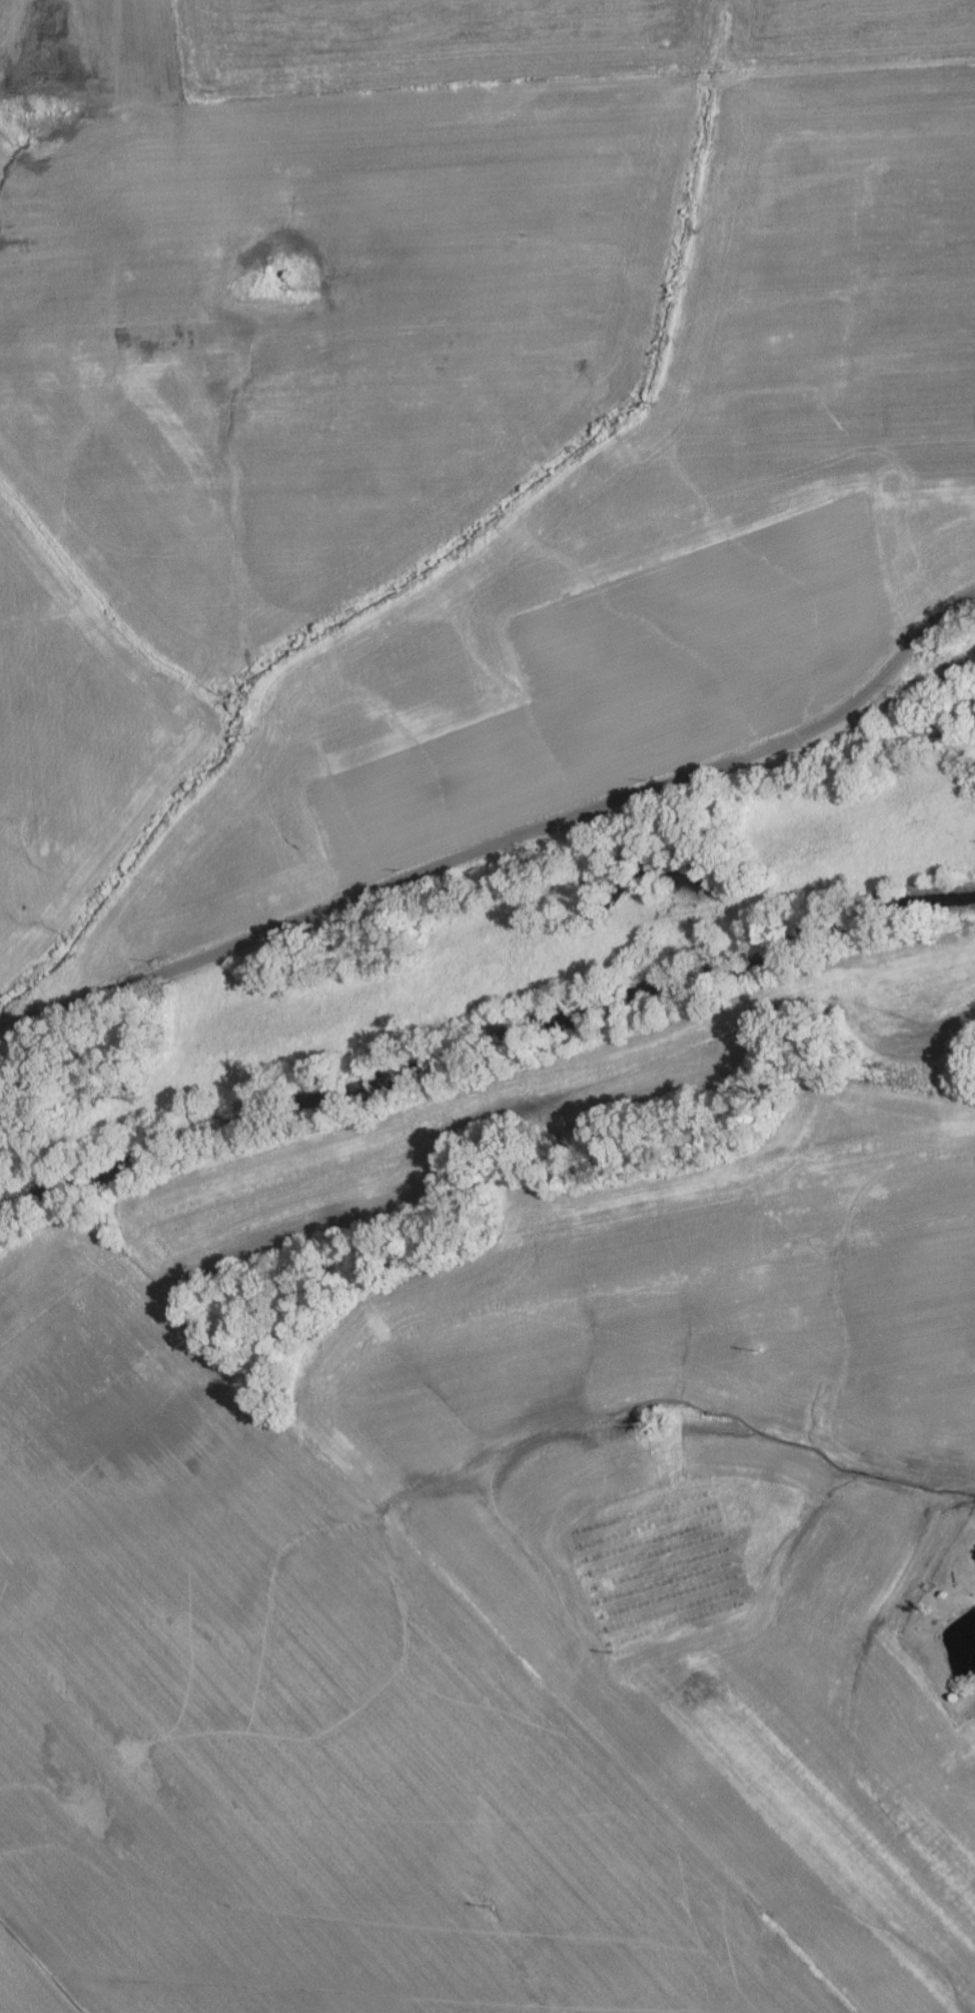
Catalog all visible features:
road: (505, 844)

